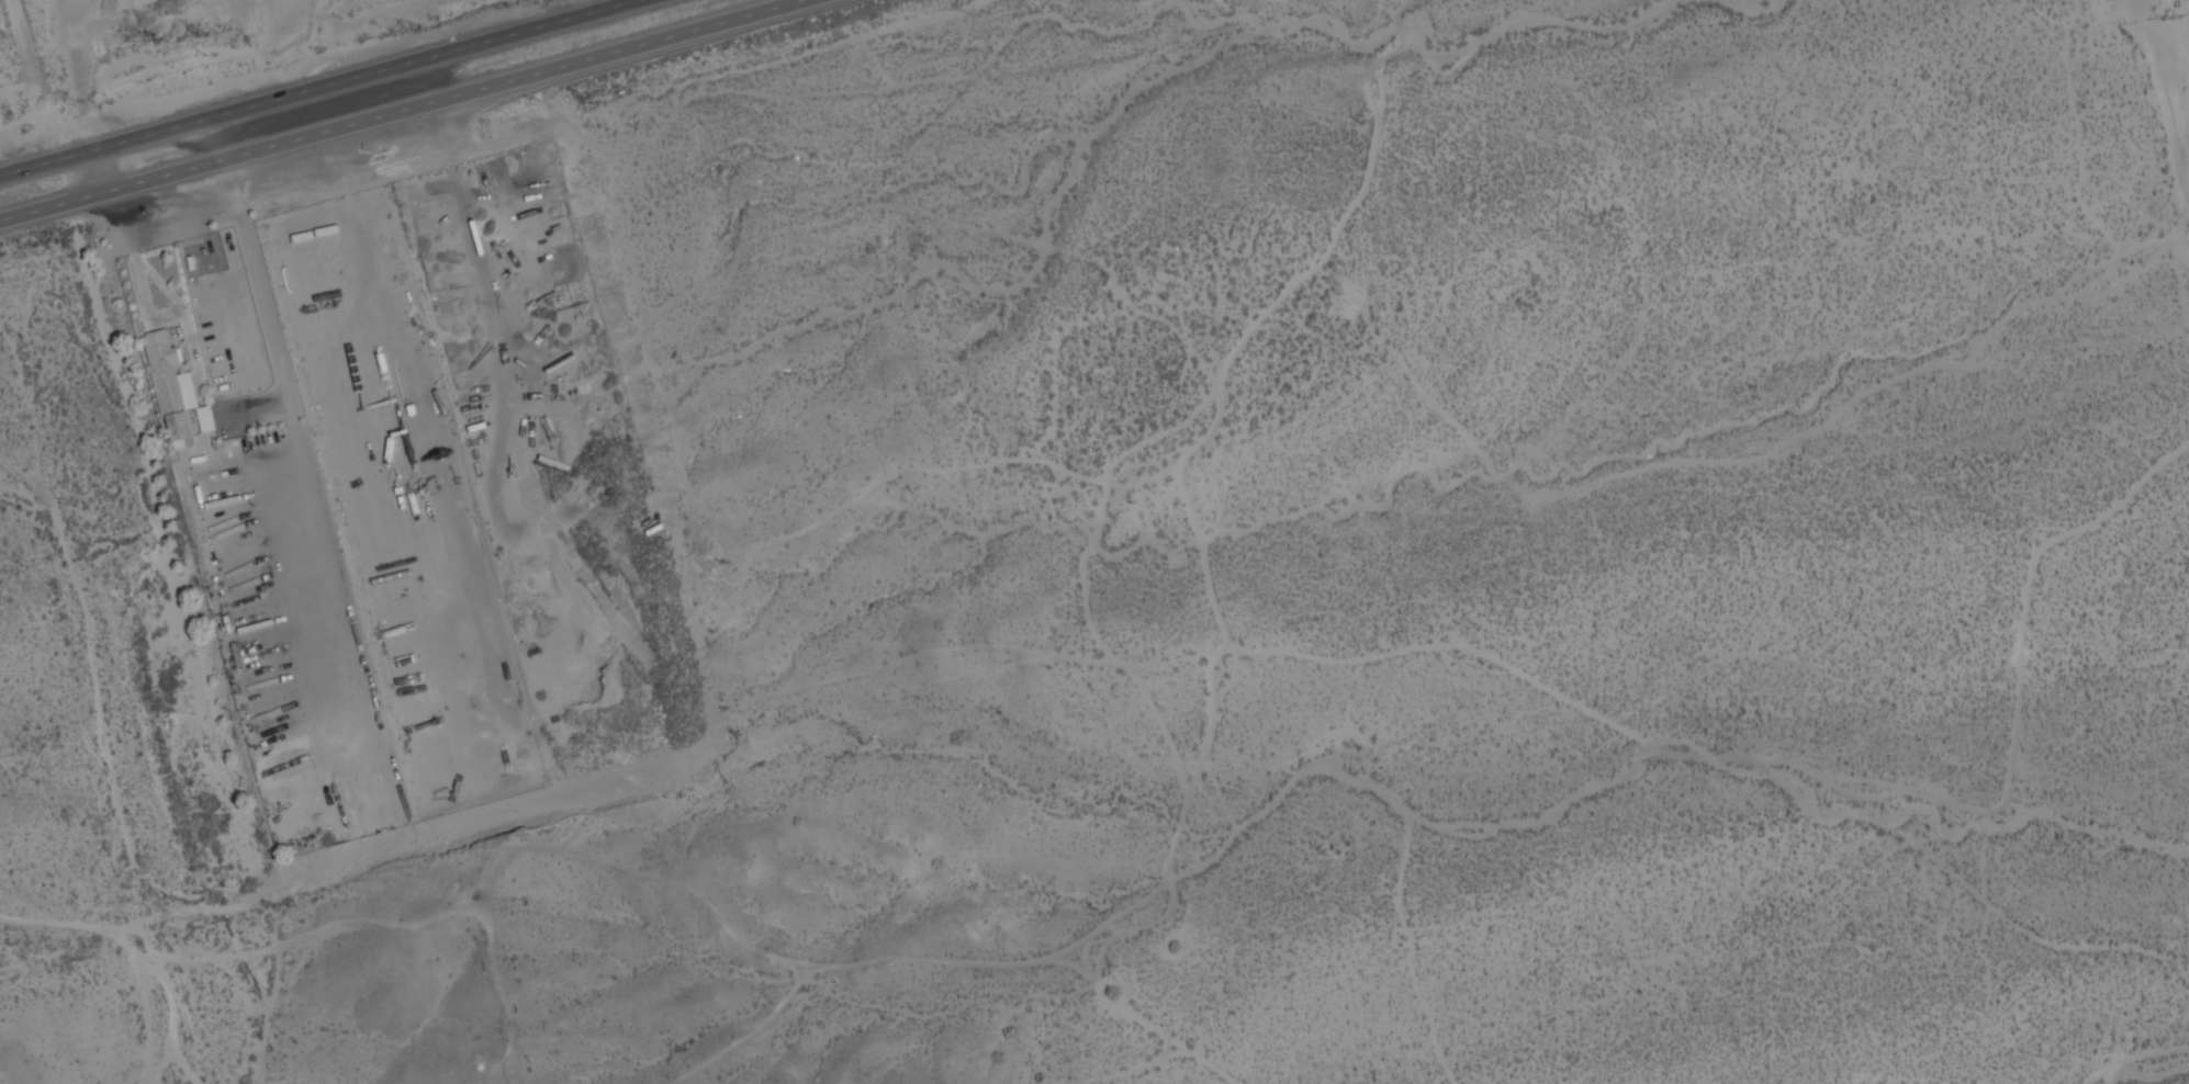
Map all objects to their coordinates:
road: (2173, 69)
road: (323, 88)
road: (404, 110)
building: (164, 386)
building: (186, 389)
building: (202, 421)

